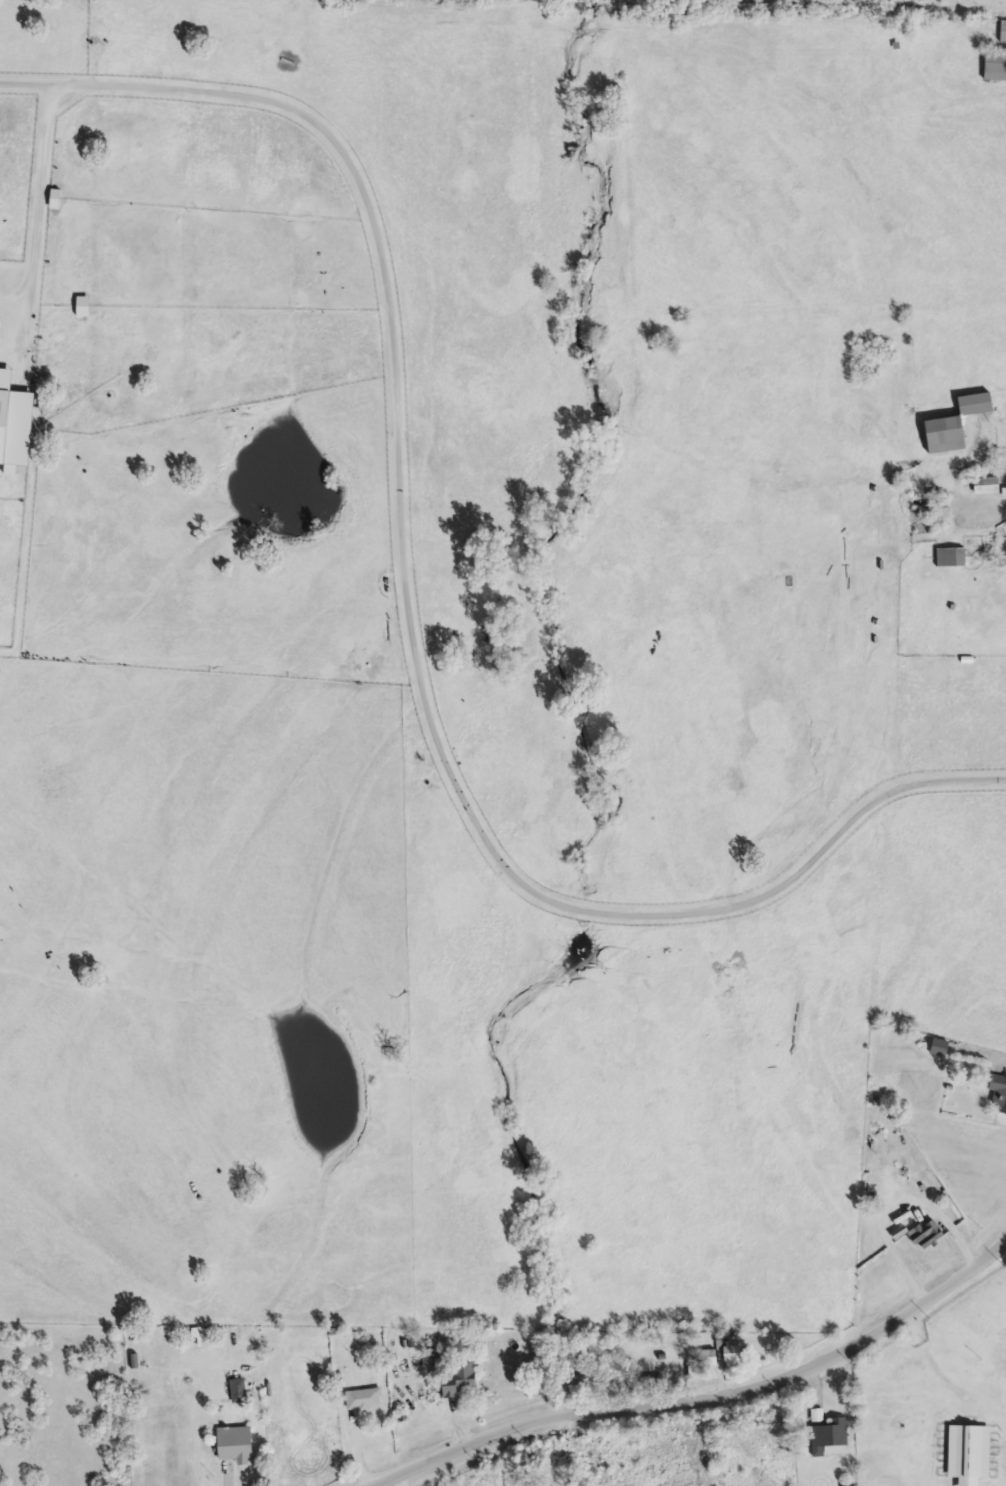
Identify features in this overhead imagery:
building: (996, 68)
road: (34, 84)
road: (12, 305)
building: (16, 422)
building: (958, 426)
building: (989, 487)
road: (984, 505)
road: (394, 514)
building: (952, 559)
building: (940, 1049)
building: (997, 1095)
road: (838, 1350)
building: (733, 1353)
road: (935, 1366)
building: (460, 1381)
building: (240, 1391)
building: (365, 1401)
road: (507, 1435)
building: (829, 1435)
building: (237, 1445)
building: (969, 1454)

